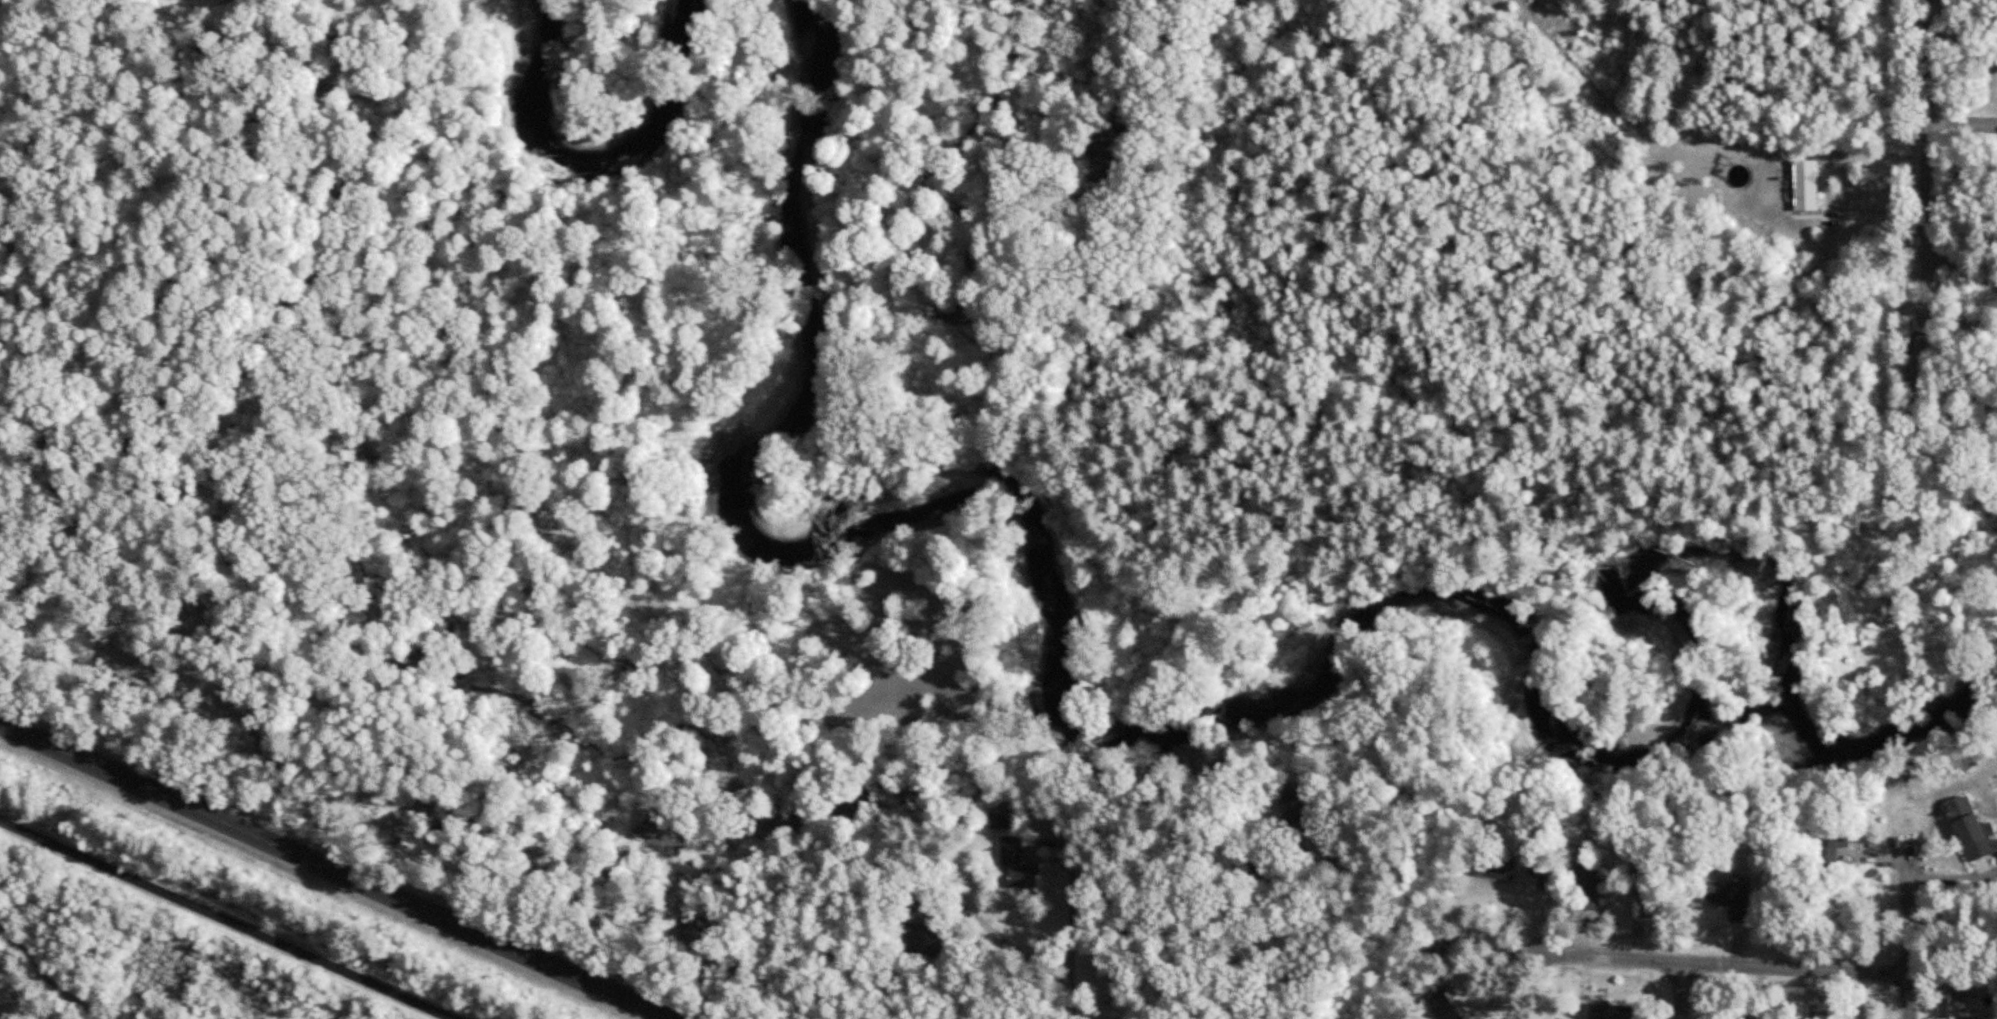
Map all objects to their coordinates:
river: (593, 152)
road: (1925, 168)
building: (1805, 182)
river: (1268, 685)
building: (1296, 803)
building: (1973, 831)
building: (1839, 843)
building: (1015, 857)
building: (1542, 859)
building: (1494, 864)
building: (1247, 866)
road: (336, 870)
building: (1590, 888)
building: (1728, 891)
road: (226, 919)
road: (1074, 933)
road: (1910, 935)
building: (926, 936)
road: (1710, 961)
road: (49, 977)
building: (1960, 987)
road: (1680, 989)
building: (1447, 1004)
building: (1597, 1006)
building: (1747, 1014)
building: (1968, 1018)

